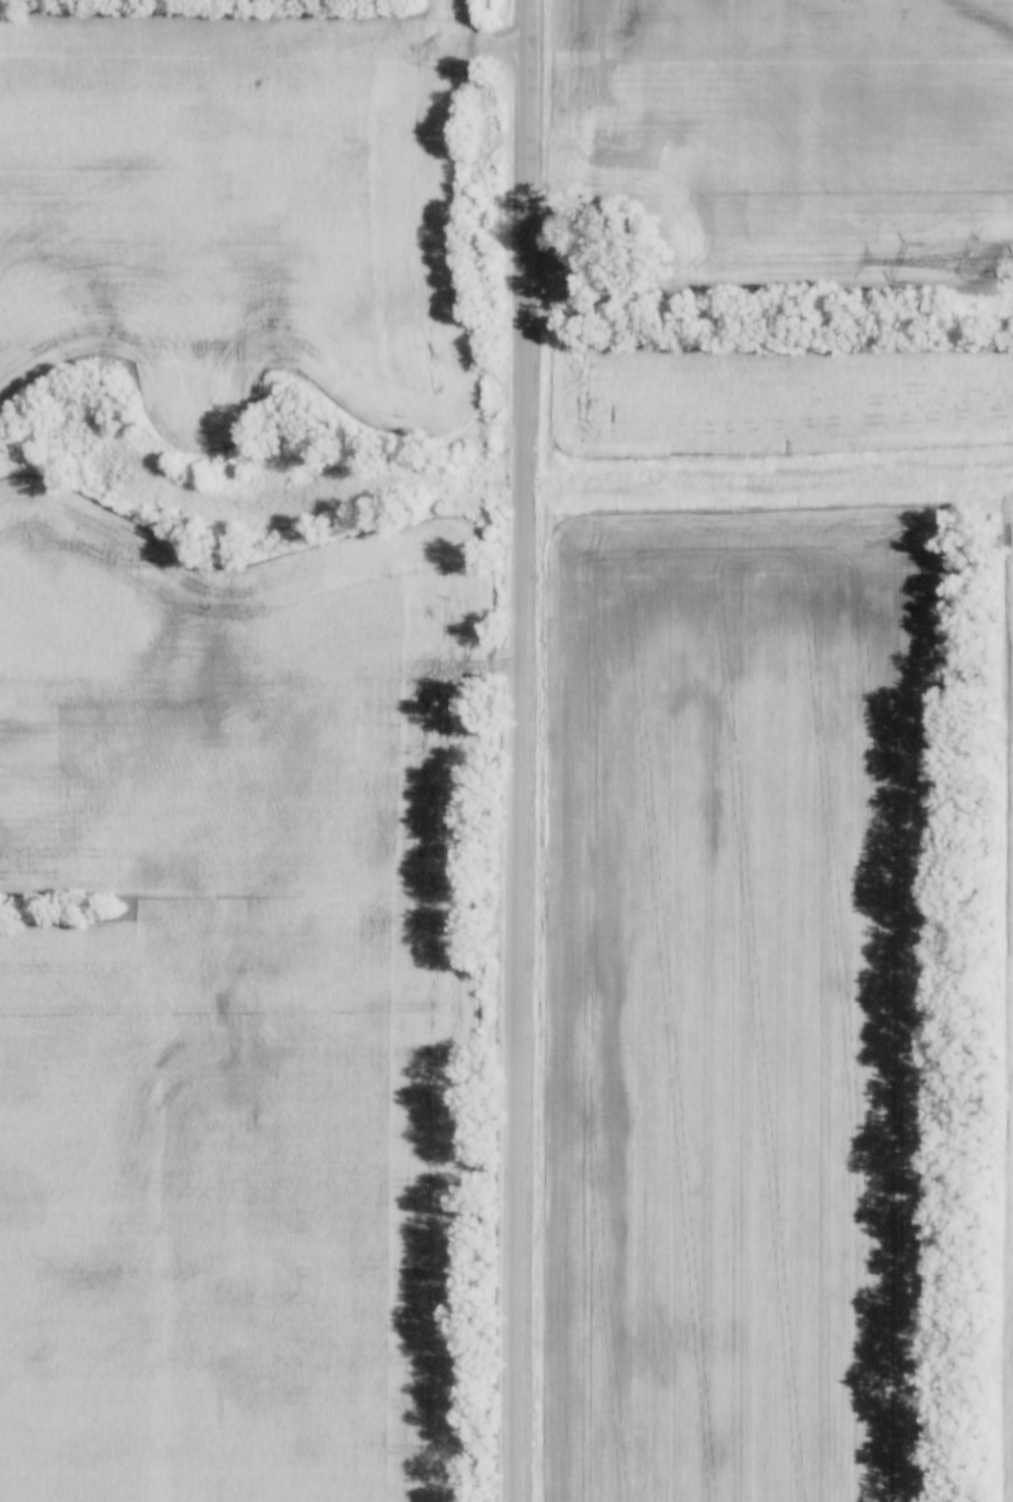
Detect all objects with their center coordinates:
road: (518, 750)

